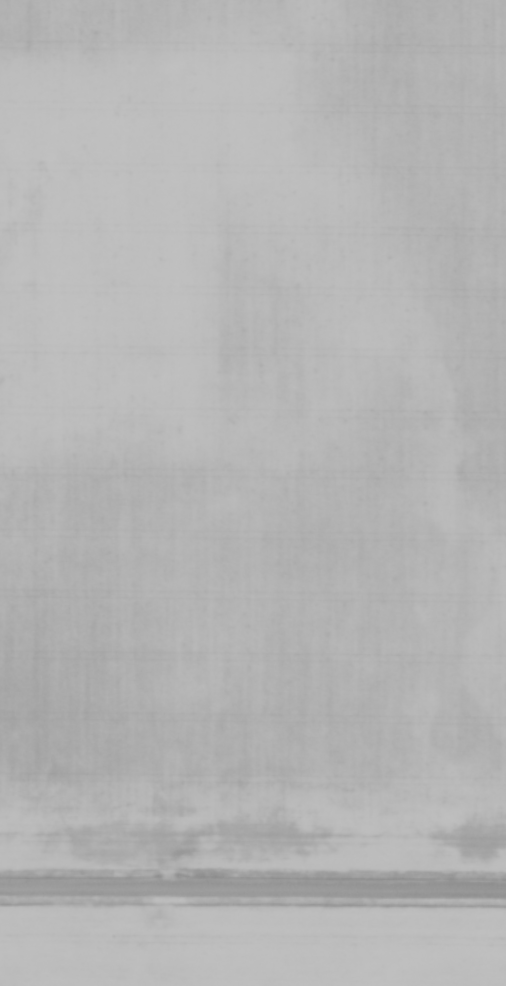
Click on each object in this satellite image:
road: (253, 891)
crop: (250, 946)

